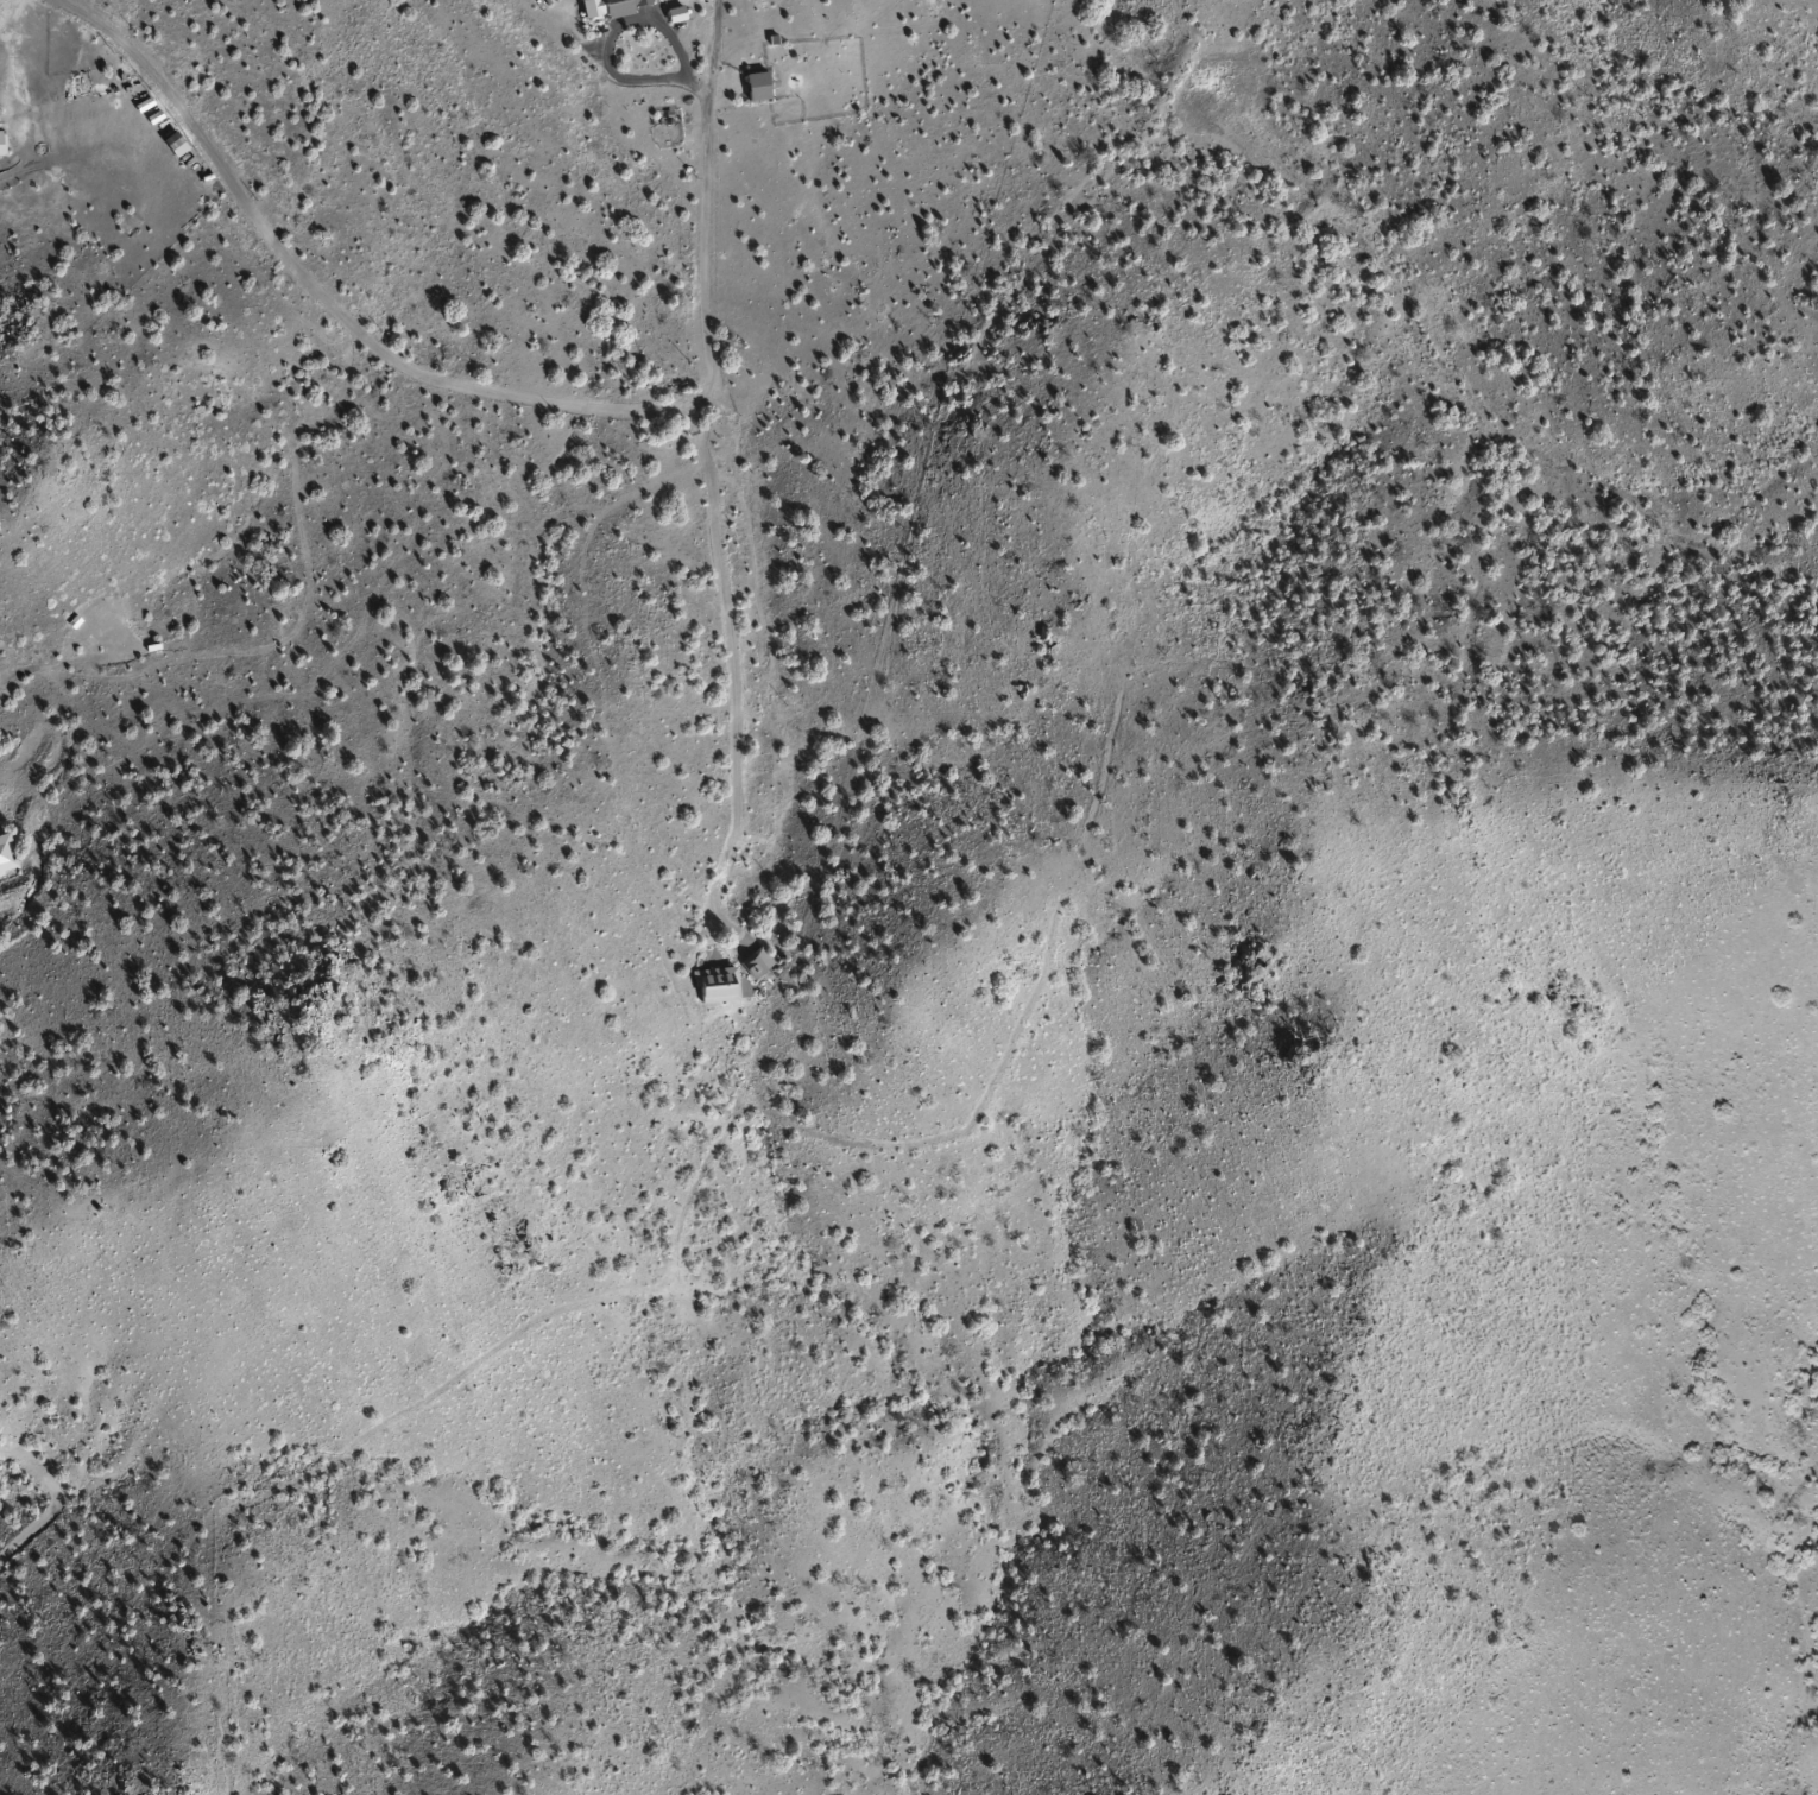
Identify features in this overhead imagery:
building: (620, 6)
building: (173, 144)
road: (326, 292)
building: (756, 963)
building: (714, 985)

